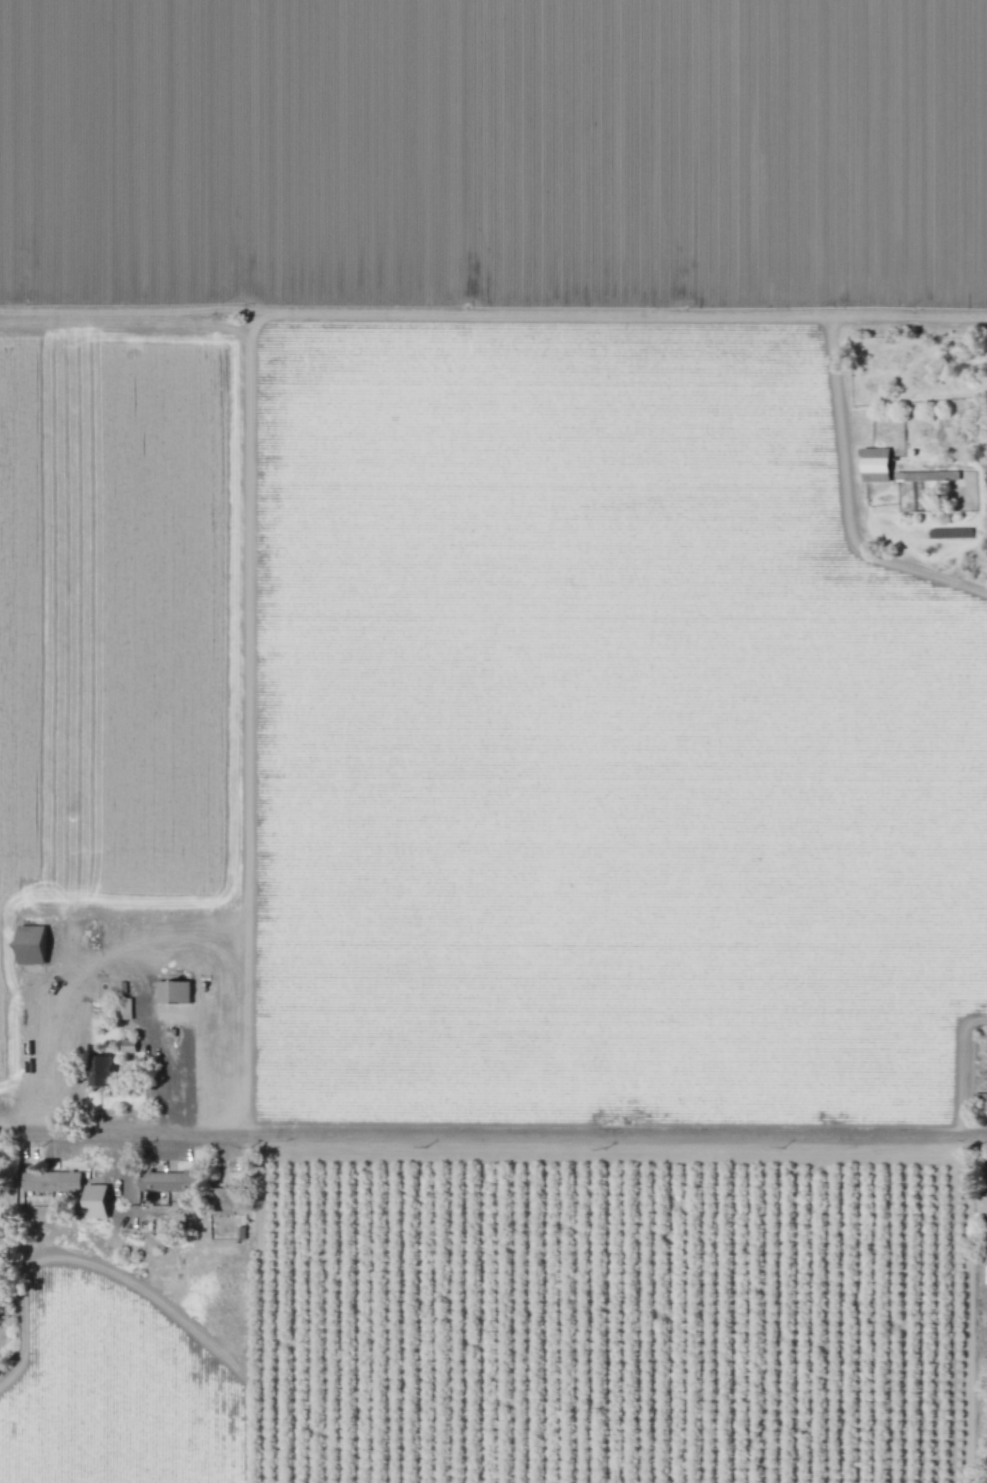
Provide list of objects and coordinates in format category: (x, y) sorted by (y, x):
road: (838, 423)
building: (874, 465)
building: (34, 945)
building: (172, 992)
building: (128, 1046)
building: (107, 1071)
road: (183, 1081)
road: (493, 1141)
building: (166, 1186)
building: (100, 1201)
building: (224, 1201)
building: (981, 1205)

